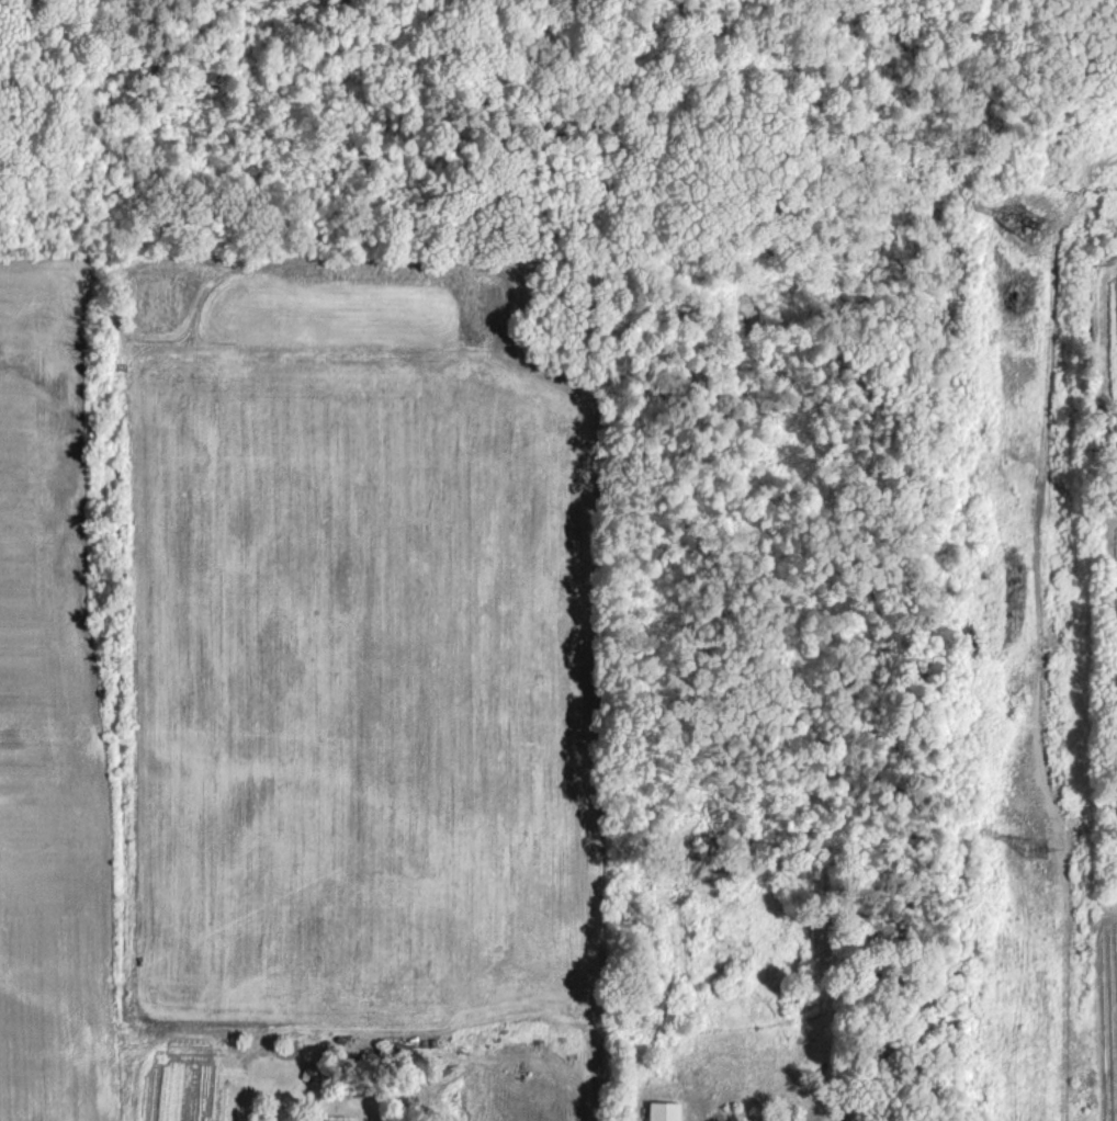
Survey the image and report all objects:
power tower: (1028, 222)
power tower: (1034, 848)
building: (663, 1110)
building: (339, 1120)

